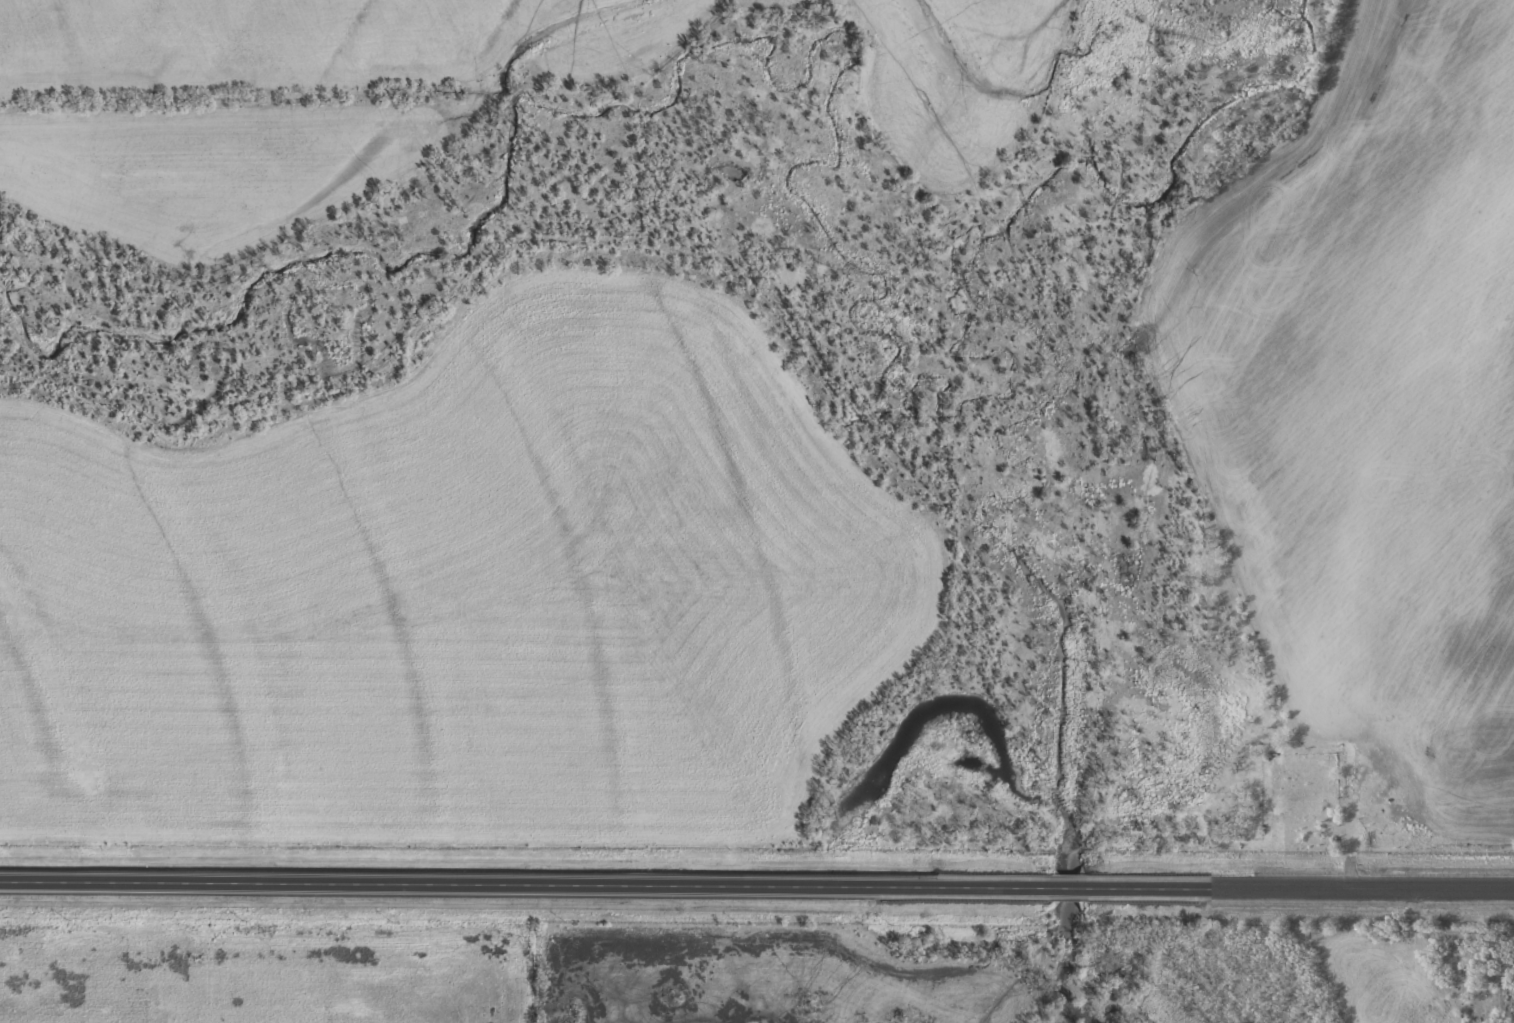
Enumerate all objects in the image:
road: (757, 892)

